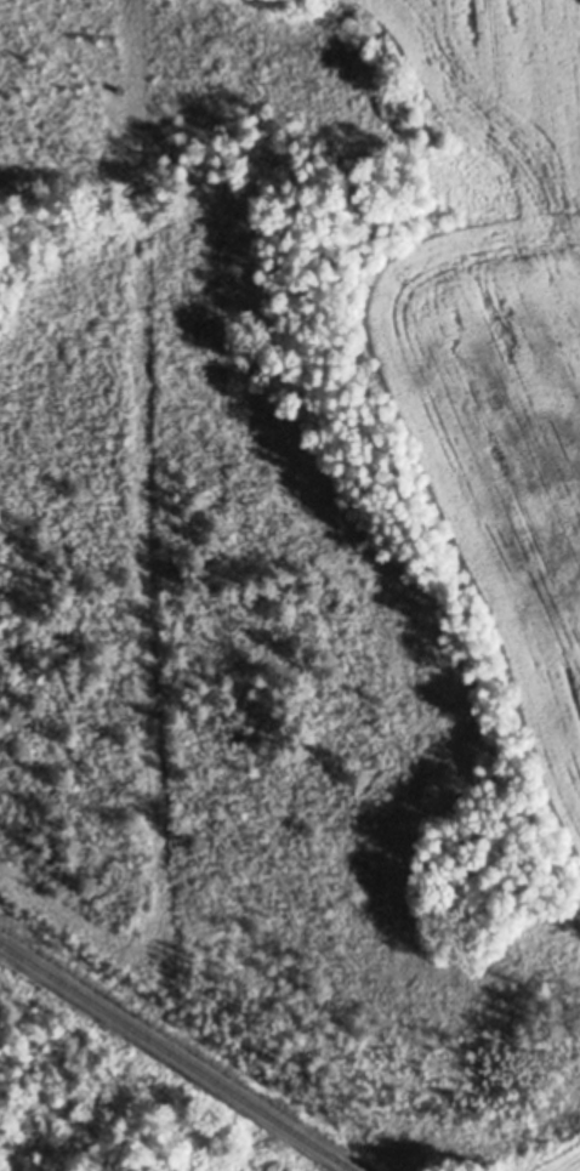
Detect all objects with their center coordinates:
railway: (176, 1057)
crop: (207, 1158)

